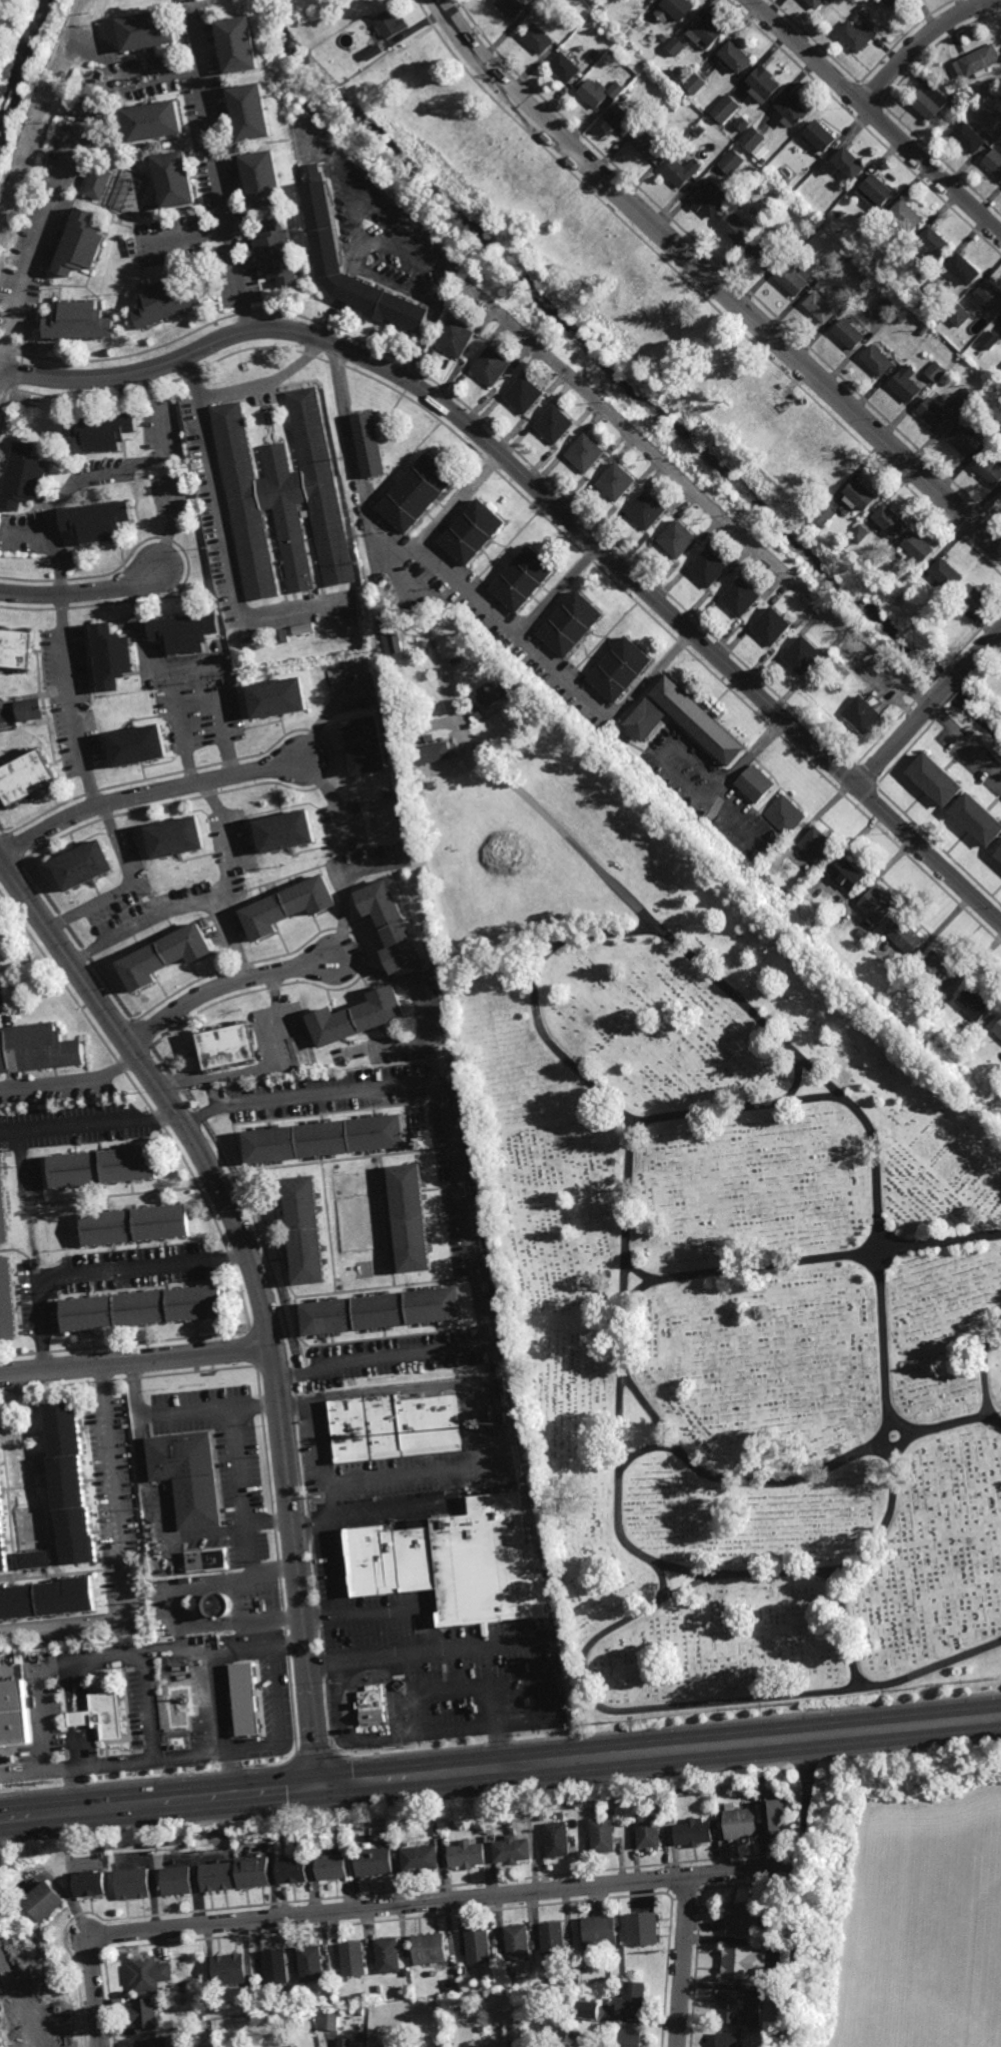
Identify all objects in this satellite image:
building: (894, 3)
building: (817, 4)
building: (550, 5)
building: (511, 8)
building: (602, 10)
building: (676, 10)
building: (857, 17)
building: (712, 27)
building: (389, 28)
building: (149, 31)
building: (858, 34)
building: (664, 38)
building: (538, 40)
road: (919, 42)
park: (16, 44)
building: (241, 45)
building: (676, 45)
building: (639, 49)
building: (372, 54)
building: (596, 54)
building: (737, 54)
building: (978, 60)
building: (565, 67)
building: (674, 77)
building: (696, 82)
building: (765, 82)
building: (615, 88)
building: (593, 92)
building: (625, 97)
building: (931, 100)
building: (726, 107)
building: (793, 107)
building: (252, 110)
road: (875, 117)
building: (156, 118)
building: (621, 119)
building: (743, 122)
building: (821, 136)
building: (969, 137)
building: (756, 142)
building: (652, 148)
building: (764, 160)
building: (994, 160)
building: (731, 161)
building: (851, 161)
road: (216, 167)
building: (681, 170)
building: (177, 178)
building: (264, 178)
road: (63, 180)
building: (99, 182)
building: (877, 191)
building: (708, 200)
road: (383, 201)
building: (909, 214)
building: (736, 226)
building: (323, 228)
road: (183, 239)
building: (935, 242)
building: (81, 243)
building: (279, 253)
building: (765, 253)
building: (847, 257)
building: (963, 268)
building: (922, 276)
road: (385, 278)
building: (793, 280)
road: (712, 281)
building: (934, 287)
building: (989, 295)
building: (168, 302)
building: (891, 303)
building: (822, 307)
building: (958, 314)
building: (81, 322)
building: (1000, 327)
building: (926, 331)
building: (851, 334)
building: (456, 339)
building: (990, 339)
building: (879, 360)
building: (493, 368)
building: (938, 371)
road: (268, 381)
building: (908, 384)
building: (526, 396)
building: (965, 397)
building: (935, 413)
building: (556, 425)
building: (104, 429)
building: (962, 439)
building: (370, 445)
building: (587, 454)
building: (994, 458)
building: (989, 470)
building: (25, 477)
road: (104, 477)
building: (617, 483)
building: (418, 493)
building: (860, 497)
road: (552, 499)
building: (285, 500)
road: (457, 502)
building: (648, 512)
building: (825, 516)
building: (100, 522)
building: (890, 522)
building: (474, 533)
road: (739, 535)
building: (860, 536)
road: (224, 539)
building: (678, 541)
building: (920, 549)
building: (710, 569)
building: (946, 576)
building: (524, 580)
building: (385, 589)
road: (558, 591)
road: (83, 593)
road: (467, 594)
building: (742, 599)
building: (973, 601)
building: (392, 611)
building: (384, 612)
building: (572, 623)
building: (773, 627)
building: (188, 633)
building: (281, 637)
building: (394, 640)
building: (16, 647)
building: (114, 656)
building: (804, 656)
road: (148, 666)
building: (621, 667)
building: (427, 680)
building: (85, 690)
building: (492, 692)
building: (279, 694)
road: (71, 703)
road: (929, 706)
building: (29, 708)
building: (862, 715)
building: (646, 718)
building: (700, 718)
building: (140, 742)
building: (366, 742)
building: (430, 752)
building: (26, 775)
road: (729, 777)
building: (938, 778)
building: (756, 783)
building: (446, 788)
road: (147, 793)
building: (389, 793)
building: (785, 815)
building: (976, 816)
building: (284, 829)
building: (178, 835)
road: (229, 838)
building: (819, 844)
building: (767, 848)
building: (998, 852)
building: (757, 856)
building: (85, 863)
road: (3, 868)
building: (849, 873)
road: (125, 885)
road: (343, 889)
building: (287, 904)
building: (878, 904)
road: (179, 905)
building: (837, 906)
building: (391, 924)
building: (862, 934)
building: (904, 934)
building: (165, 955)
building: (940, 969)
road: (227, 985)
road: (419, 996)
building: (941, 999)
building: (976, 1001)
building: (357, 1016)
building: (998, 1028)
building: (223, 1046)
building: (38, 1048)
building: (338, 1055)
building: (360, 1060)
road: (267, 1065)
building: (323, 1068)
road: (71, 1081)
road: (160, 1090)
road: (731, 1112)
road: (86, 1117)
building: (322, 1139)
building: (101, 1167)
road: (457, 1188)
building: (356, 1194)
building: (4, 1208)
building: (409, 1219)
building: (135, 1225)
building: (303, 1231)
park: (705, 1231)
road: (810, 1258)
road: (98, 1269)
building: (8, 1303)
building: (142, 1309)
building: (380, 1313)
road: (136, 1361)
road: (981, 1369)
road: (186, 1409)
road: (471, 1424)
building: (392, 1425)
building: (186, 1473)
road: (792, 1478)
building: (67, 1480)
road: (239, 1486)
road: (325, 1492)
road: (884, 1518)
building: (3, 1525)
road: (311, 1529)
road: (118, 1550)
building: (35, 1557)
building: (204, 1558)
building: (454, 1562)
road: (297, 1564)
building: (47, 1597)
building: (219, 1605)
road: (380, 1611)
road: (848, 1632)
road: (455, 1645)
road: (219, 1676)
power tower: (917, 1687)
building: (245, 1703)
building: (370, 1704)
building: (175, 1705)
road: (703, 1705)
building: (14, 1714)
building: (98, 1714)
power tower: (576, 1725)
power tower: (409, 1744)
power tower: (210, 1764)
road: (500, 1767)
road: (809, 1767)
building: (718, 1782)
power tower: (48, 1783)
traffic signals: (320, 1783)
building: (604, 1812)
building: (559, 1815)
building: (773, 1815)
building: (539, 1817)
building: (739, 1823)
building: (647, 1830)
building: (692, 1832)
building: (602, 1834)
building: (555, 1838)
building: (510, 1848)
building: (465, 1854)
building: (419, 1858)
building: (372, 1861)
building: (330, 1866)
road: (778, 1866)
building: (290, 1870)
building: (252, 1871)
building: (216, 1877)
building: (175, 1881)
building: (87, 1883)
building: (130, 1883)
road: (357, 1895)
road: (448, 1900)
building: (44, 1901)
building: (743, 1918)
road: (797, 1923)
building: (642, 1929)
road: (697, 1930)
building: (599, 1934)
building: (553, 1939)
building: (517, 1943)
building: (477, 1948)
building: (428, 1949)
building: (387, 1956)
building: (352, 1959)
road: (683, 1961)
building: (309, 1963)
building: (740, 1963)
building: (533, 1967)
building: (275, 1968)
building: (228, 1970)
building: (504, 1970)
building: (147, 1973)
building: (405, 1973)
road: (94, 1982)
building: (184, 1985)
building: (453, 1986)
building: (379, 1989)
building: (364, 1996)
building: (349, 1999)
building: (632, 2000)
building: (184, 2001)
building: (737, 2008)
building: (587, 2010)
building: (514, 2012)
building: (144, 2013)
building: (360, 2013)
building: (329, 2020)
building: (481, 2029)
building: (514, 2031)
building: (527, 2033)
building: (576, 2034)
building: (629, 2038)
building: (344, 2040)
building: (725, 2040)
building: (151, 2042)
building: (400, 2042)
building: (440, 2042)

